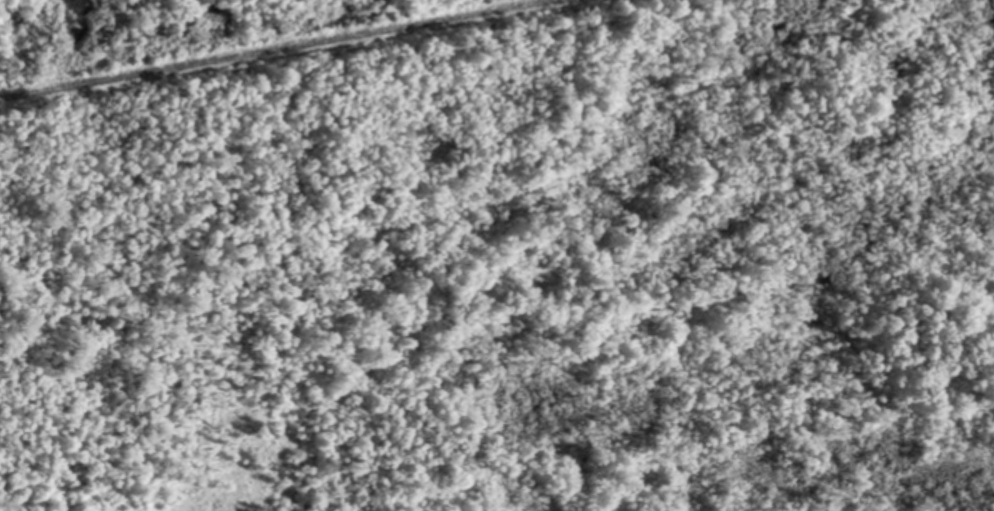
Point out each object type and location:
railway: (275, 48)

